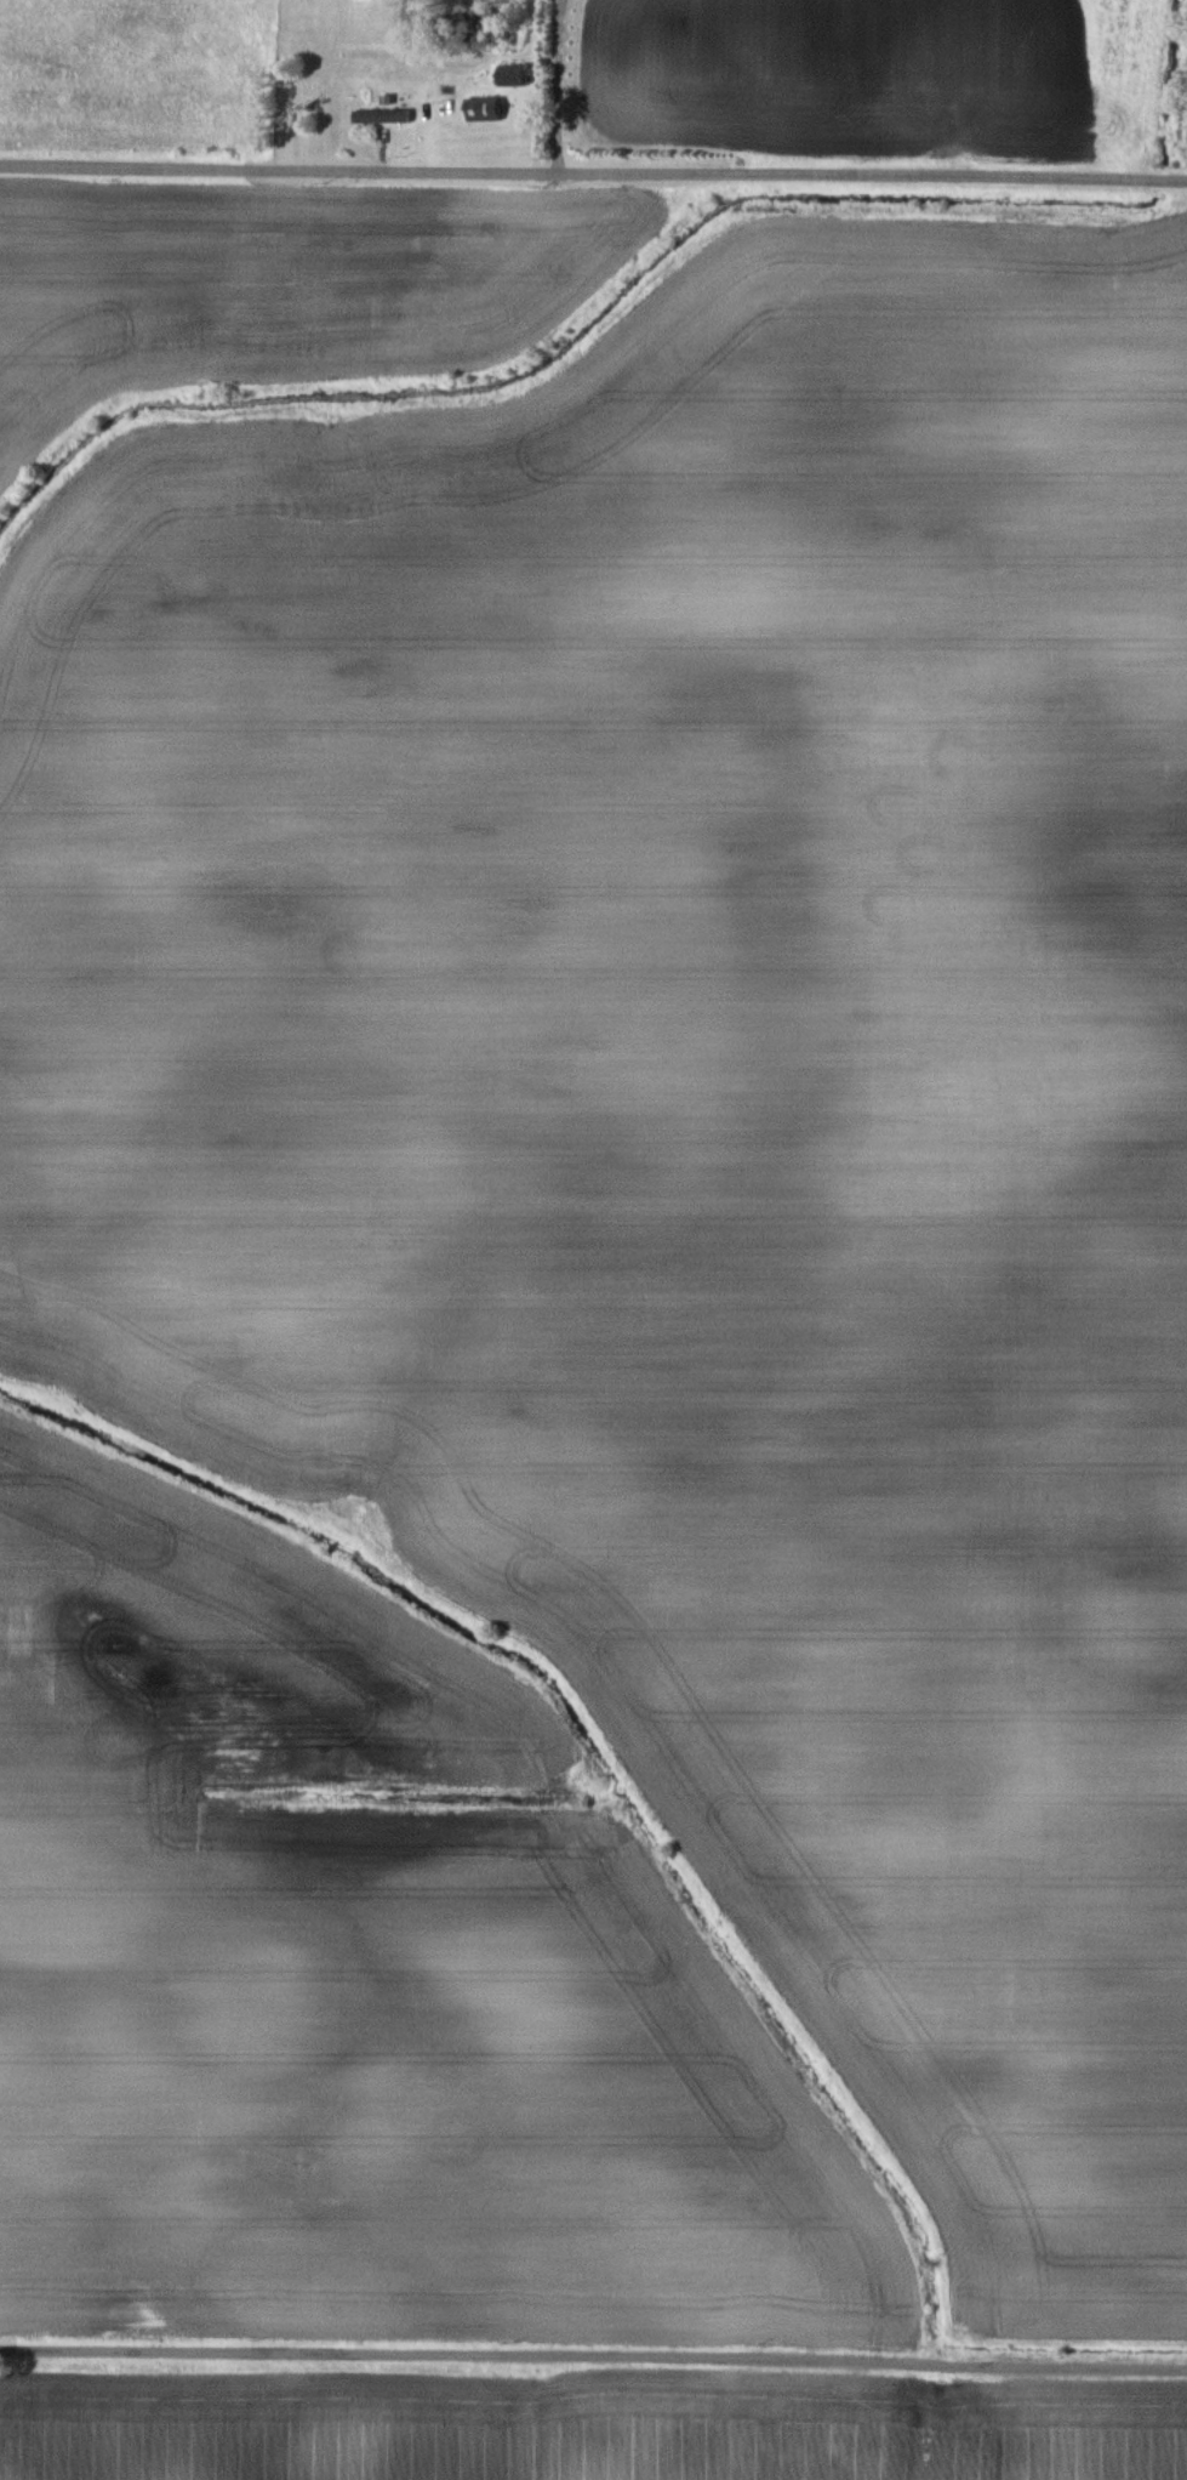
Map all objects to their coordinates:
building: (508, 75)
road: (580, 85)
building: (476, 109)
building: (376, 116)
road: (593, 170)
road: (593, 2357)

